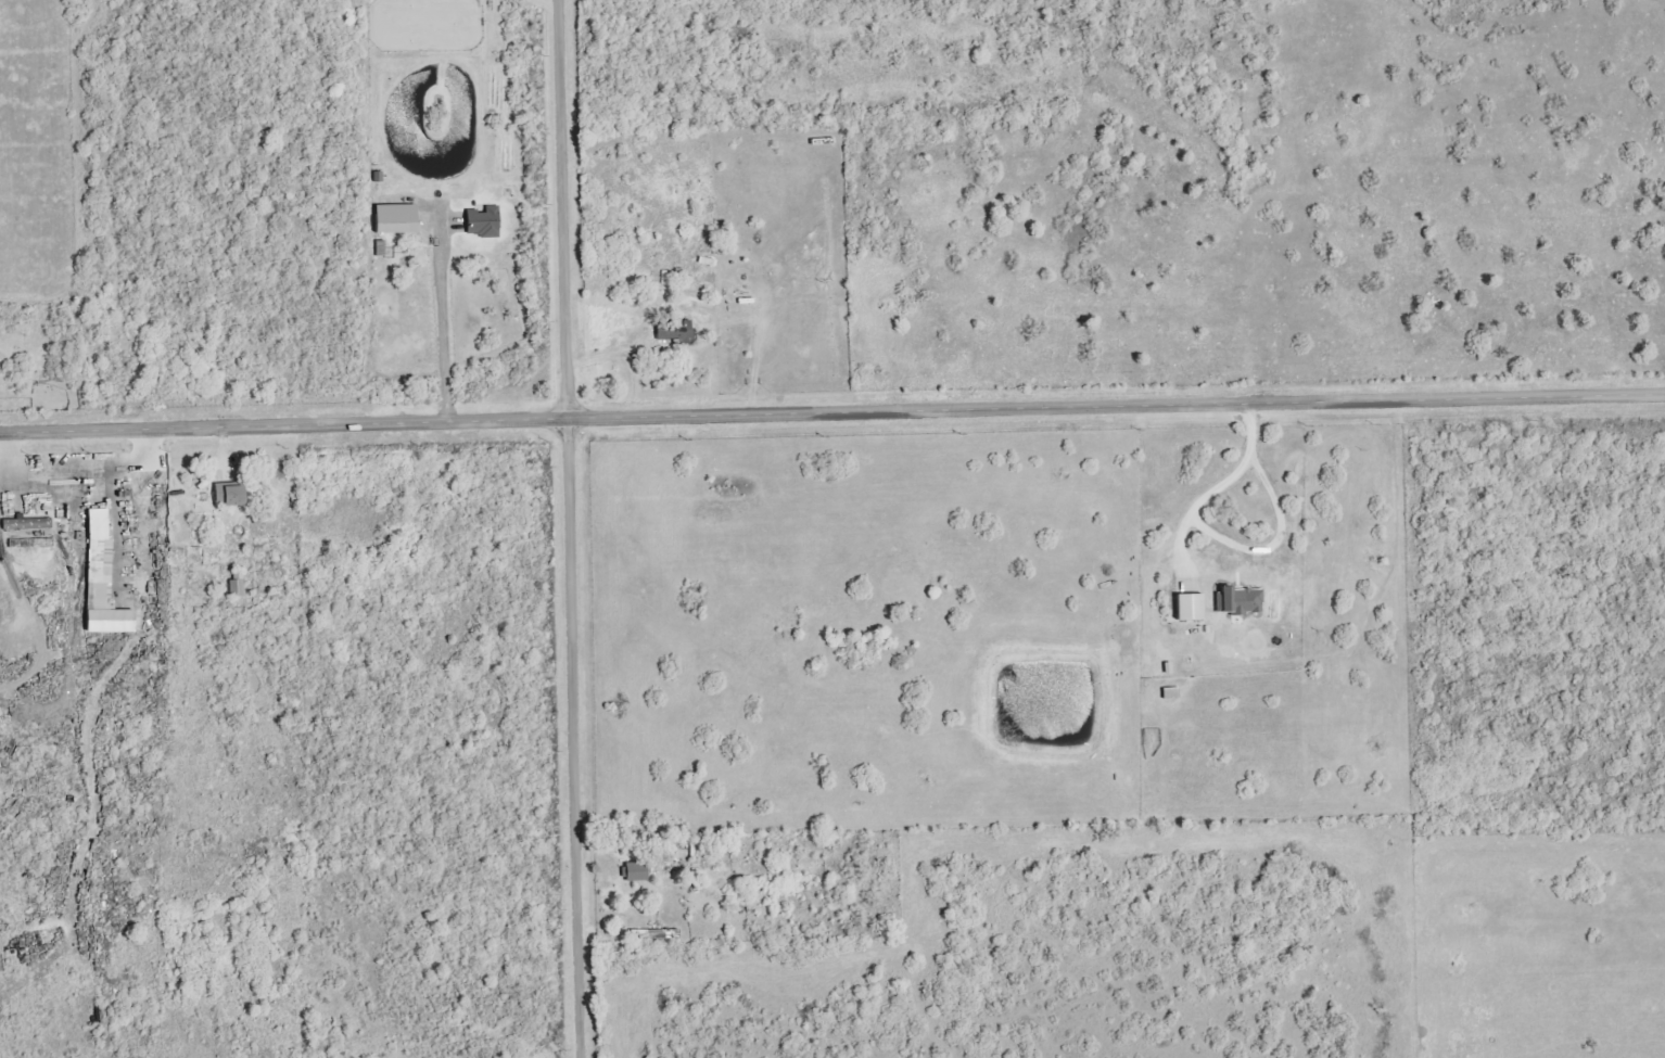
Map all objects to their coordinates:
building: (394, 219)
building: (481, 222)
building: (672, 331)
road: (832, 417)
building: (227, 494)
road: (572, 528)
building: (101, 581)
building: (234, 588)
building: (1238, 600)
building: (1187, 607)
building: (634, 871)

